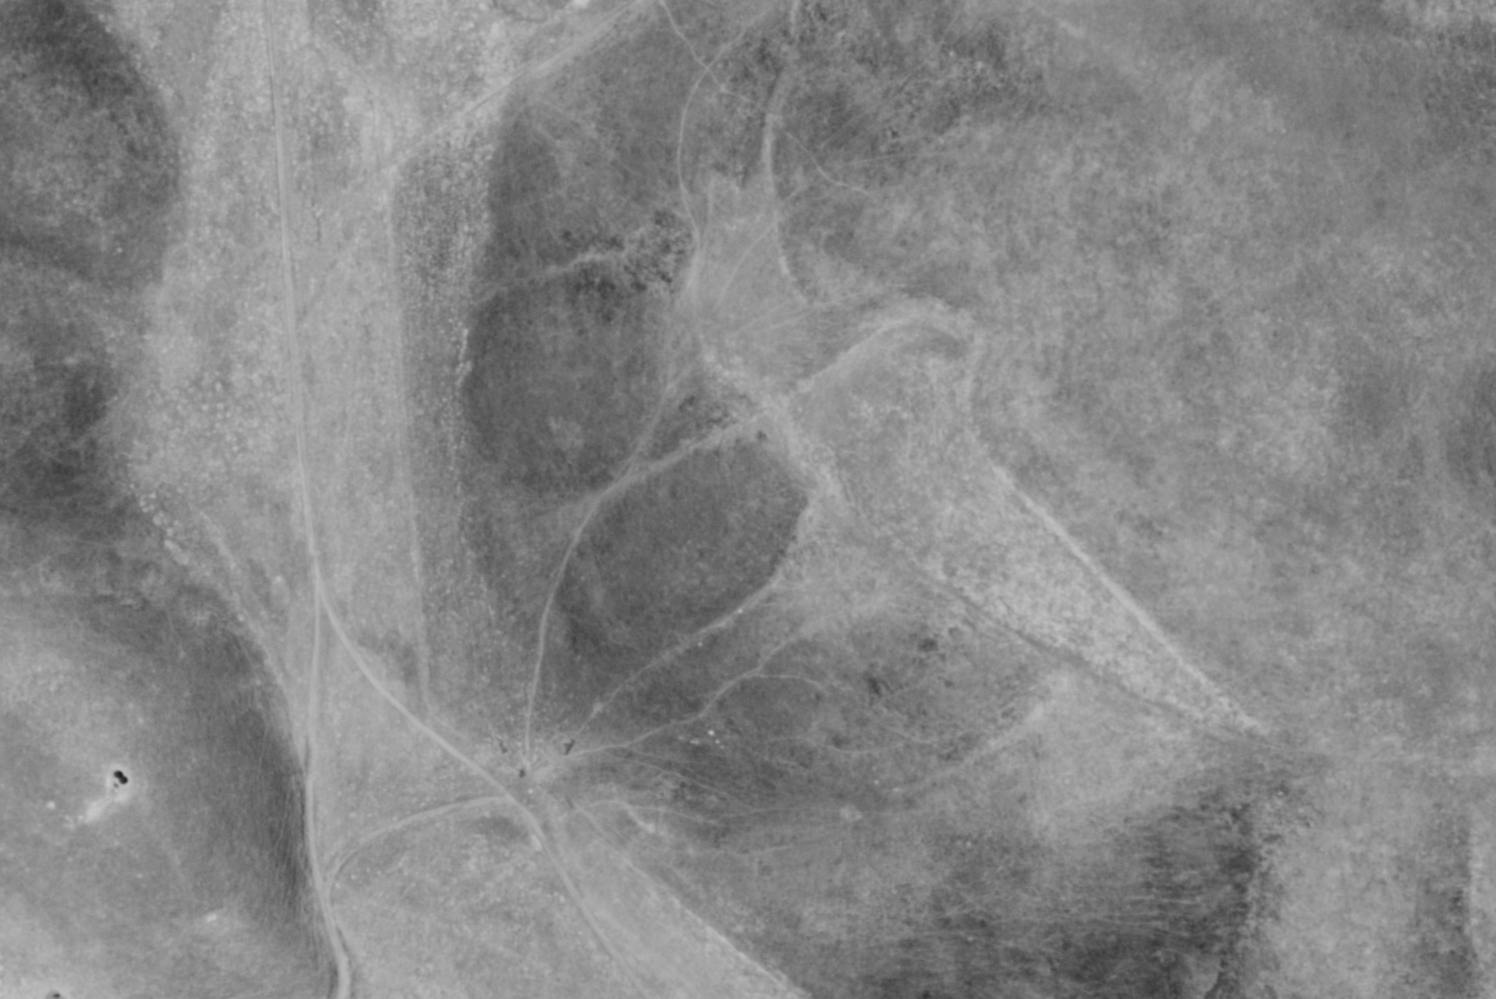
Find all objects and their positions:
crop: (748, 499)
road: (473, 796)

